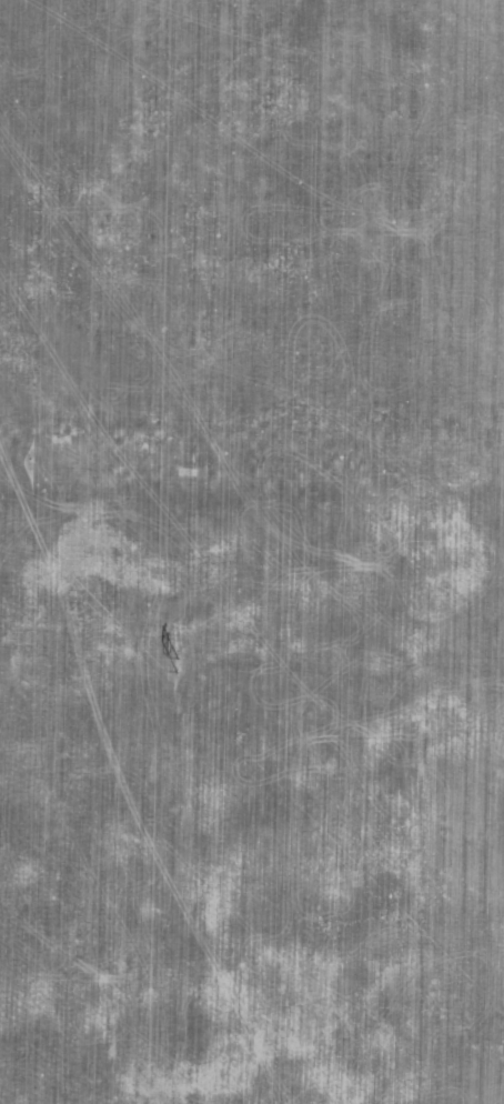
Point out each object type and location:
power tower: (174, 664)

